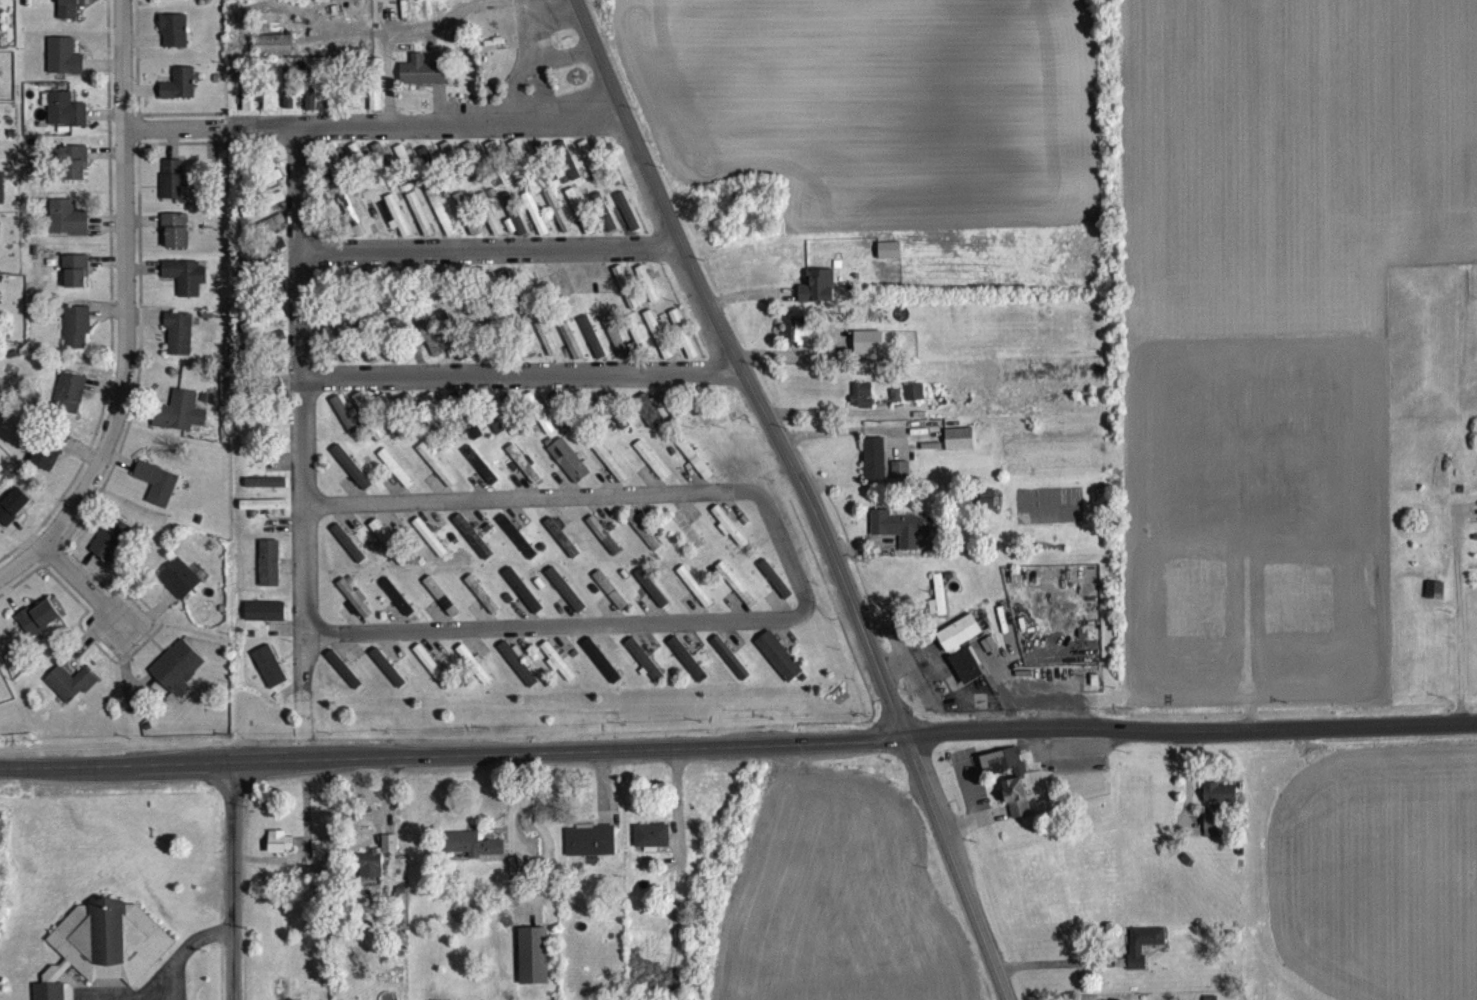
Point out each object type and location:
building: (500, 0)
building: (175, 2)
building: (71, 13)
road: (421, 38)
road: (525, 40)
building: (174, 41)
building: (274, 56)
building: (64, 67)
road: (561, 69)
building: (422, 82)
building: (180, 95)
building: (289, 99)
building: (311, 106)
building: (355, 106)
building: (375, 109)
building: (333, 110)
building: (265, 111)
building: (65, 121)
road: (439, 123)
road: (163, 126)
building: (377, 161)
building: (447, 161)
building: (471, 163)
building: (356, 164)
building: (426, 166)
building: (403, 167)
building: (333, 168)
building: (591, 172)
building: (74, 173)
building: (569, 175)
building: (173, 191)
building: (461, 213)
building: (440, 222)
building: (557, 222)
building: (580, 222)
building: (627, 222)
building: (355, 223)
building: (535, 224)
building: (603, 224)
building: (395, 225)
building: (419, 225)
building: (513, 225)
building: (67, 229)
building: (492, 231)
building: (271, 234)
building: (473, 239)
building: (175, 241)
road: (487, 245)
building: (278, 255)
building: (252, 269)
building: (76, 282)
road: (126, 285)
building: (186, 287)
building: (647, 295)
building: (818, 297)
building: (625, 298)
building: (676, 329)
building: (441, 333)
building: (76, 337)
building: (249, 337)
building: (797, 341)
building: (179, 344)
building: (636, 344)
building: (658, 345)
building: (428, 346)
building: (592, 348)
building: (615, 348)
building: (546, 349)
building: (571, 352)
building: (868, 353)
building: (687, 356)
road: (741, 366)
road: (522, 376)
road: (300, 379)
building: (70, 403)
building: (914, 403)
building: (862, 406)
building: (531, 410)
building: (556, 410)
building: (362, 414)
building: (648, 421)
building: (180, 423)
building: (345, 426)
building: (702, 426)
building: (620, 430)
building: (544, 432)
building: (496, 436)
building: (474, 441)
building: (379, 444)
building: (959, 449)
building: (46, 466)
building: (694, 469)
building: (875, 470)
building: (568, 471)
building: (651, 471)
building: (610, 473)
building: (523, 474)
building: (436, 476)
building: (480, 476)
building: (351, 478)
building: (395, 479)
building: (900, 480)
building: (266, 493)
building: (157, 494)
road: (595, 496)
building: (988, 510)
building: (263, 515)
building: (13, 517)
building: (728, 537)
building: (897, 539)
building: (643, 540)
building: (685, 540)
building: (603, 546)
building: (384, 547)
building: (473, 547)
building: (429, 548)
building: (517, 548)
building: (561, 548)
building: (111, 549)
building: (348, 554)
road: (20, 568)
building: (269, 574)
road: (78, 584)
building: (772, 586)
building: (180, 589)
building: (735, 594)
building: (695, 597)
building: (652, 599)
building: (565, 600)
building: (1435, 600)
building: (522, 601)
building: (609, 601)
building: (481, 605)
building: (397, 607)
building: (440, 607)
building: (354, 608)
building: (938, 608)
road: (1459, 615)
building: (265, 622)
road: (556, 624)
building: (38, 630)
road: (309, 657)
building: (963, 658)
building: (729, 667)
building: (779, 667)
building: (601, 670)
building: (644, 670)
building: (688, 670)
building: (558, 673)
building: (518, 674)
building: (473, 675)
building: (270, 677)
building: (432, 677)
building: (178, 678)
building: (387, 678)
building: (343, 680)
building: (70, 693)
road: (1190, 729)
road: (452, 754)
building: (1002, 772)
building: (1220, 804)
road: (974, 807)
building: (1017, 809)
building: (1212, 837)
building: (651, 846)
building: (590, 852)
building: (281, 853)
building: (473, 855)
building: (320, 861)
road: (962, 864)
building: (376, 869)
road: (229, 881)
road: (188, 950)
building: (111, 952)
building: (1139, 958)
road: (1055, 960)
building: (533, 967)
road: (165, 996)
building: (49, 997)

